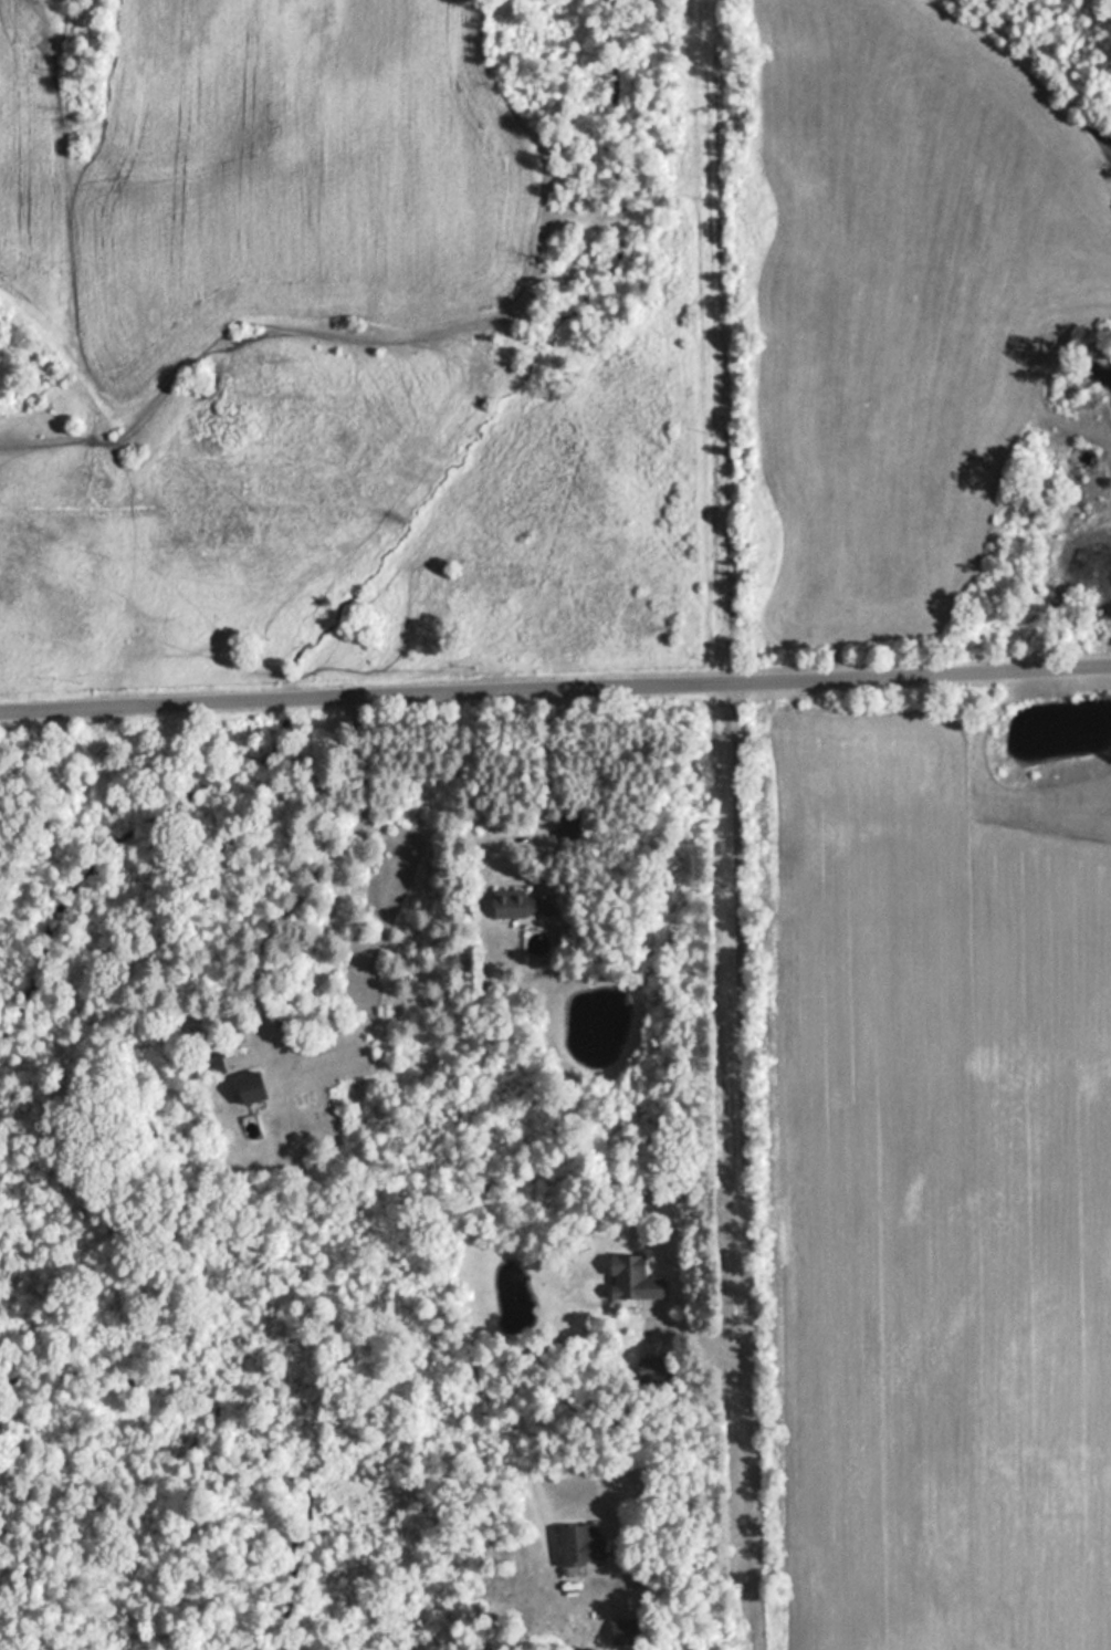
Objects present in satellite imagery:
road: (555, 681)
road: (714, 824)
road: (611, 869)
building: (520, 902)
building: (210, 1064)
building: (245, 1086)
building: (629, 1280)
building: (576, 1544)

